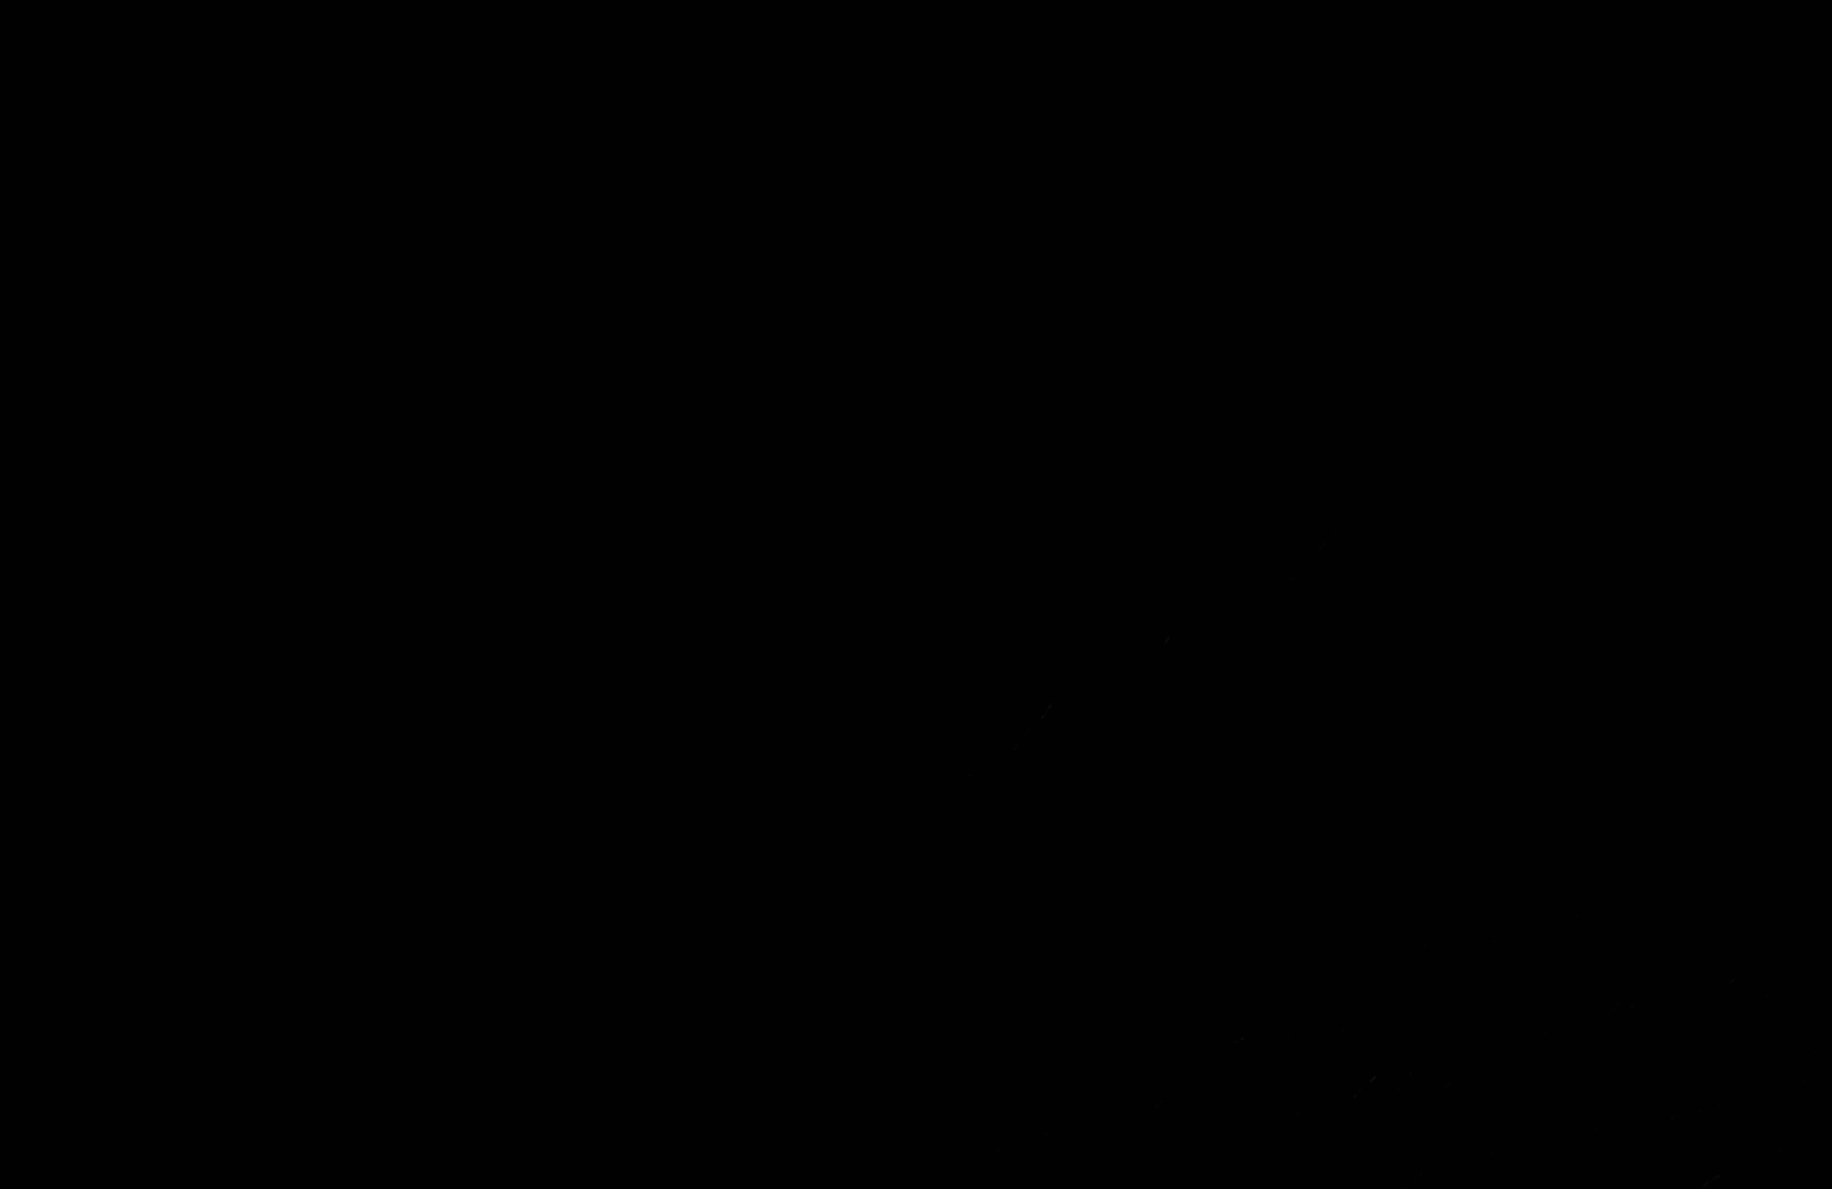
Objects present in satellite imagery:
river: (1677, 594)

